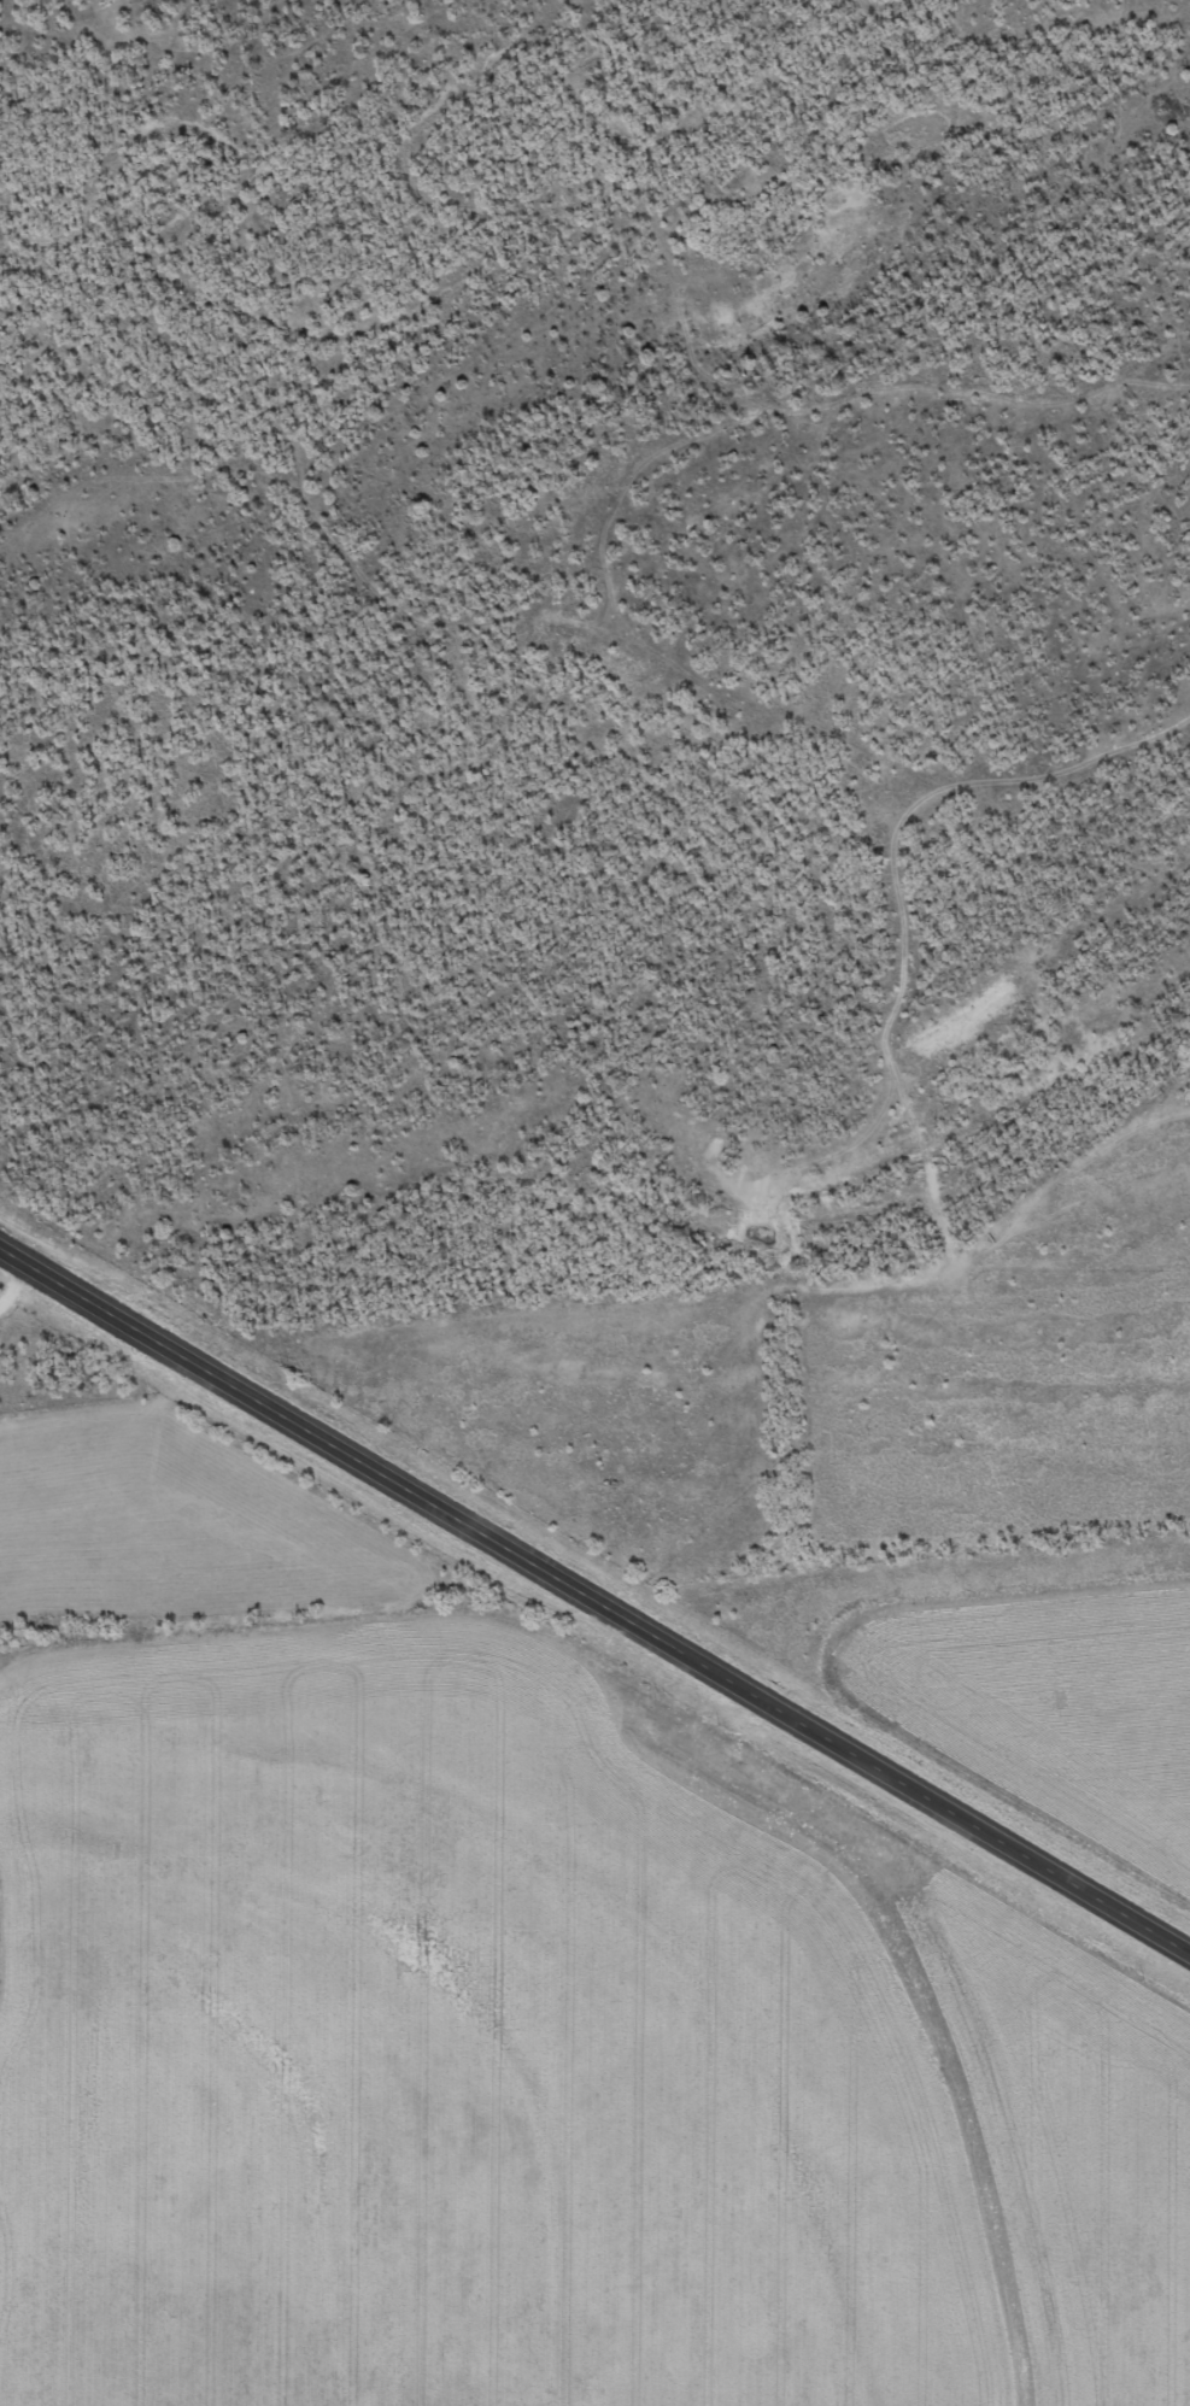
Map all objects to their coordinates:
road: (594, 1606)

